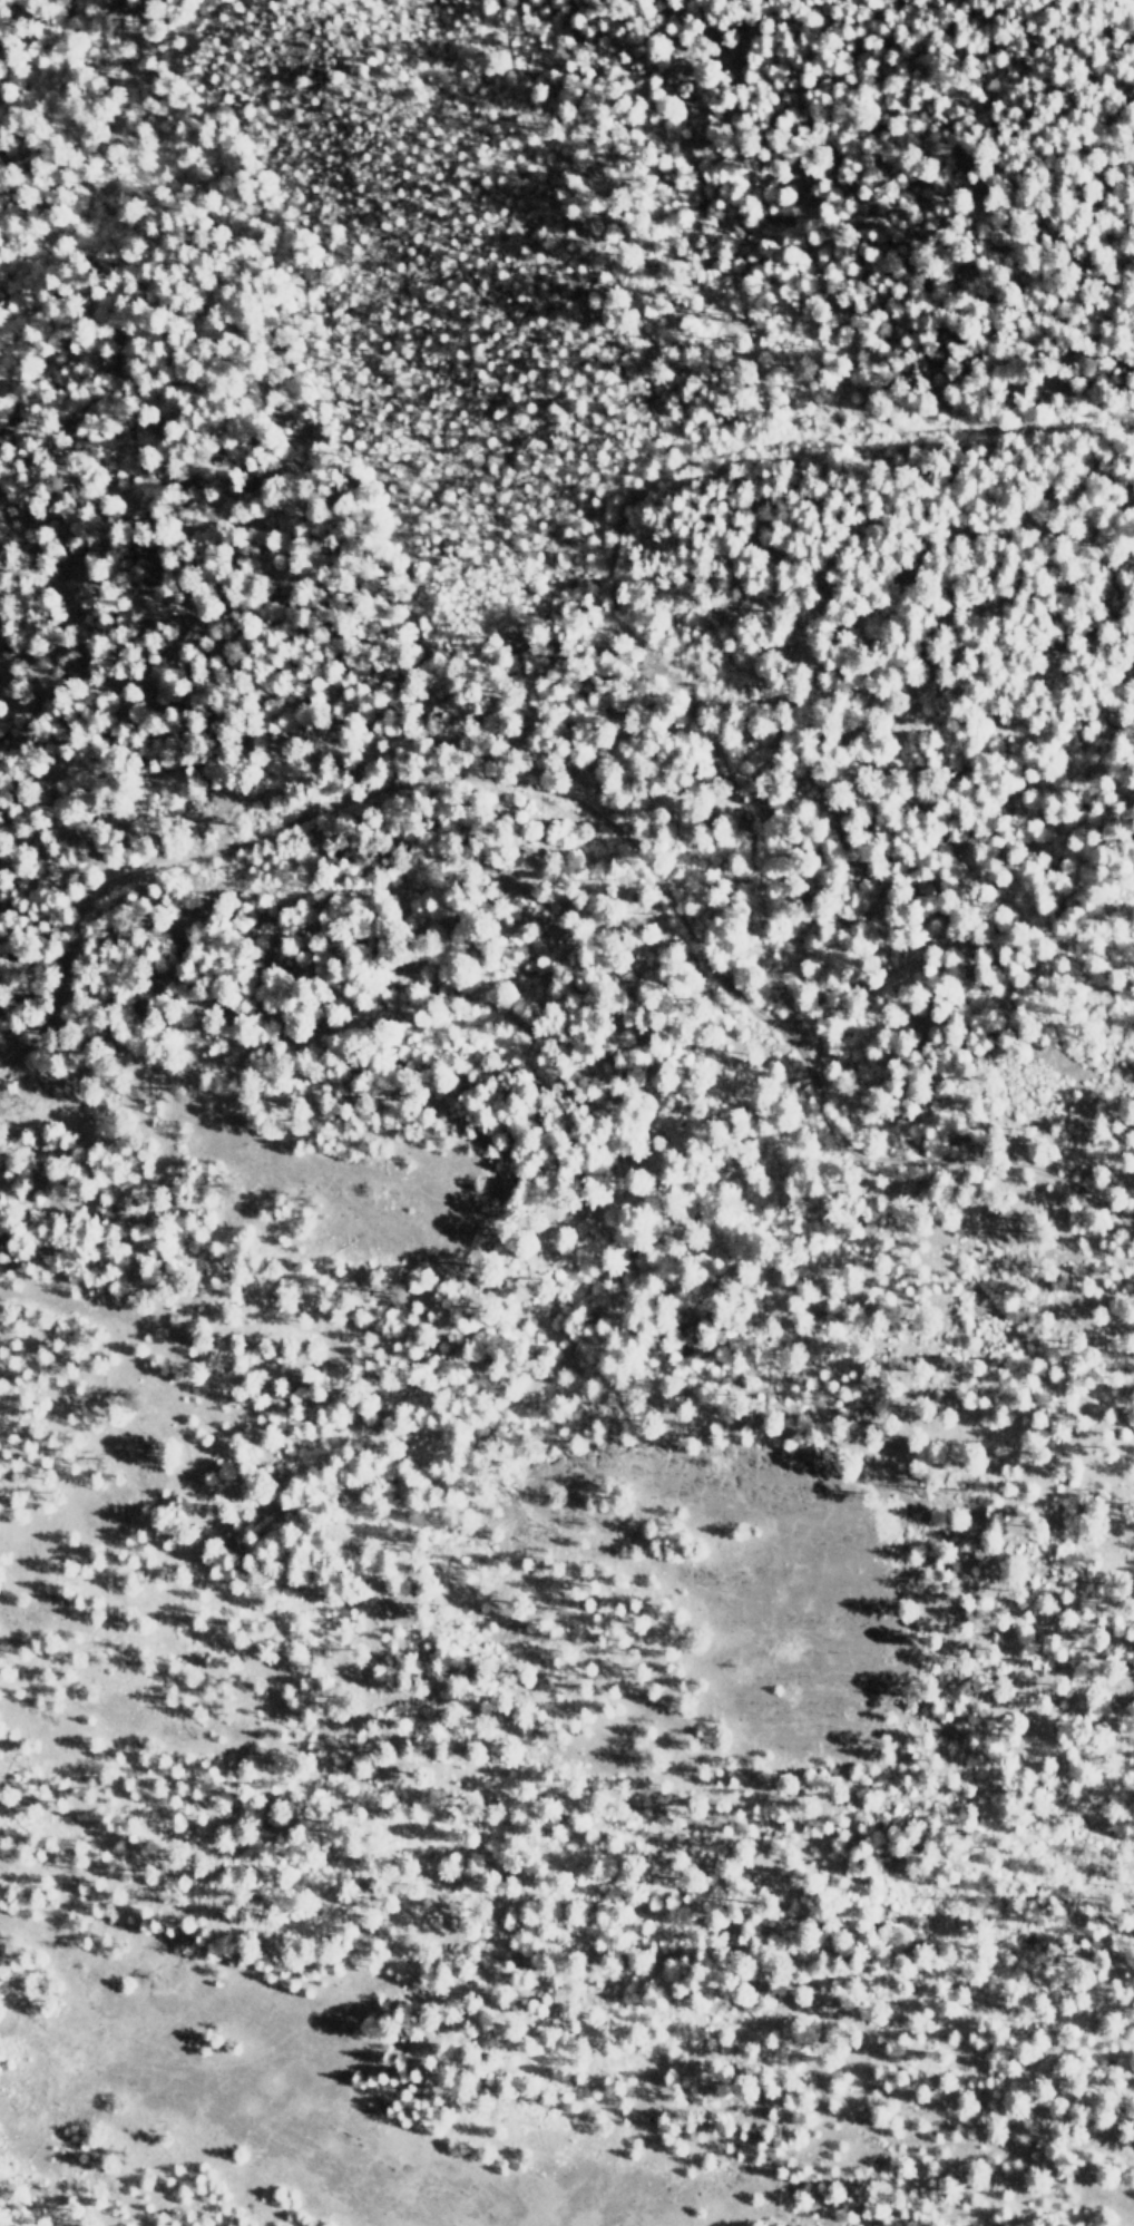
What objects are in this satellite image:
road: (624, 536)
road: (595, 811)

